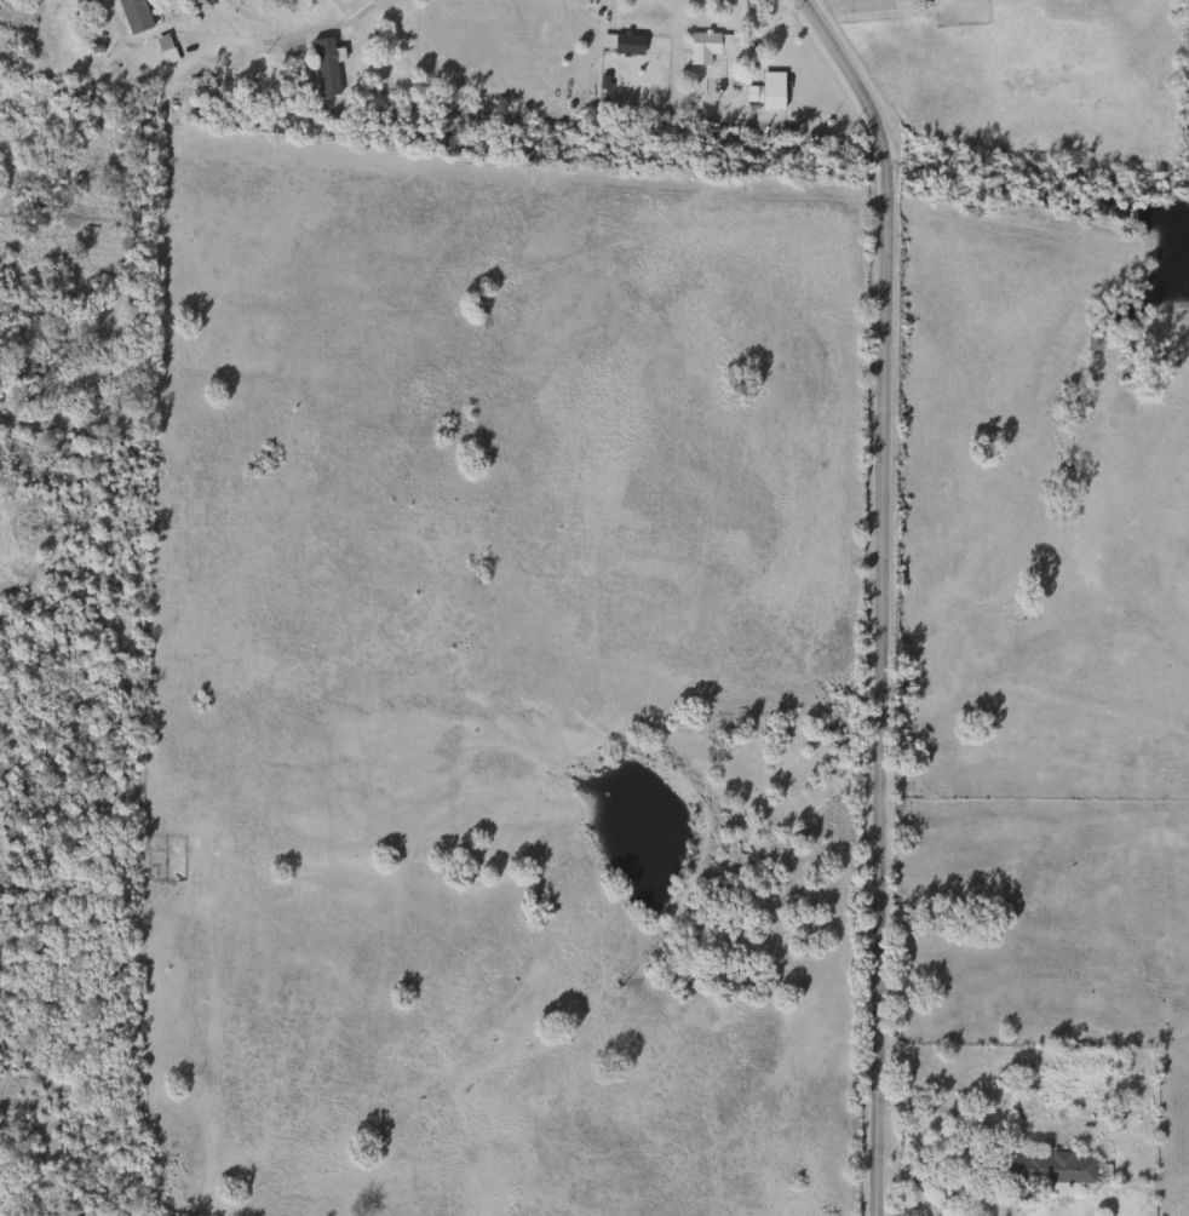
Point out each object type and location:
building: (75, 12)
building: (131, 12)
road: (295, 35)
building: (624, 45)
building: (707, 46)
building: (161, 50)
building: (322, 65)
road: (565, 220)
road: (881, 596)
road: (957, 1114)
building: (1050, 1168)

